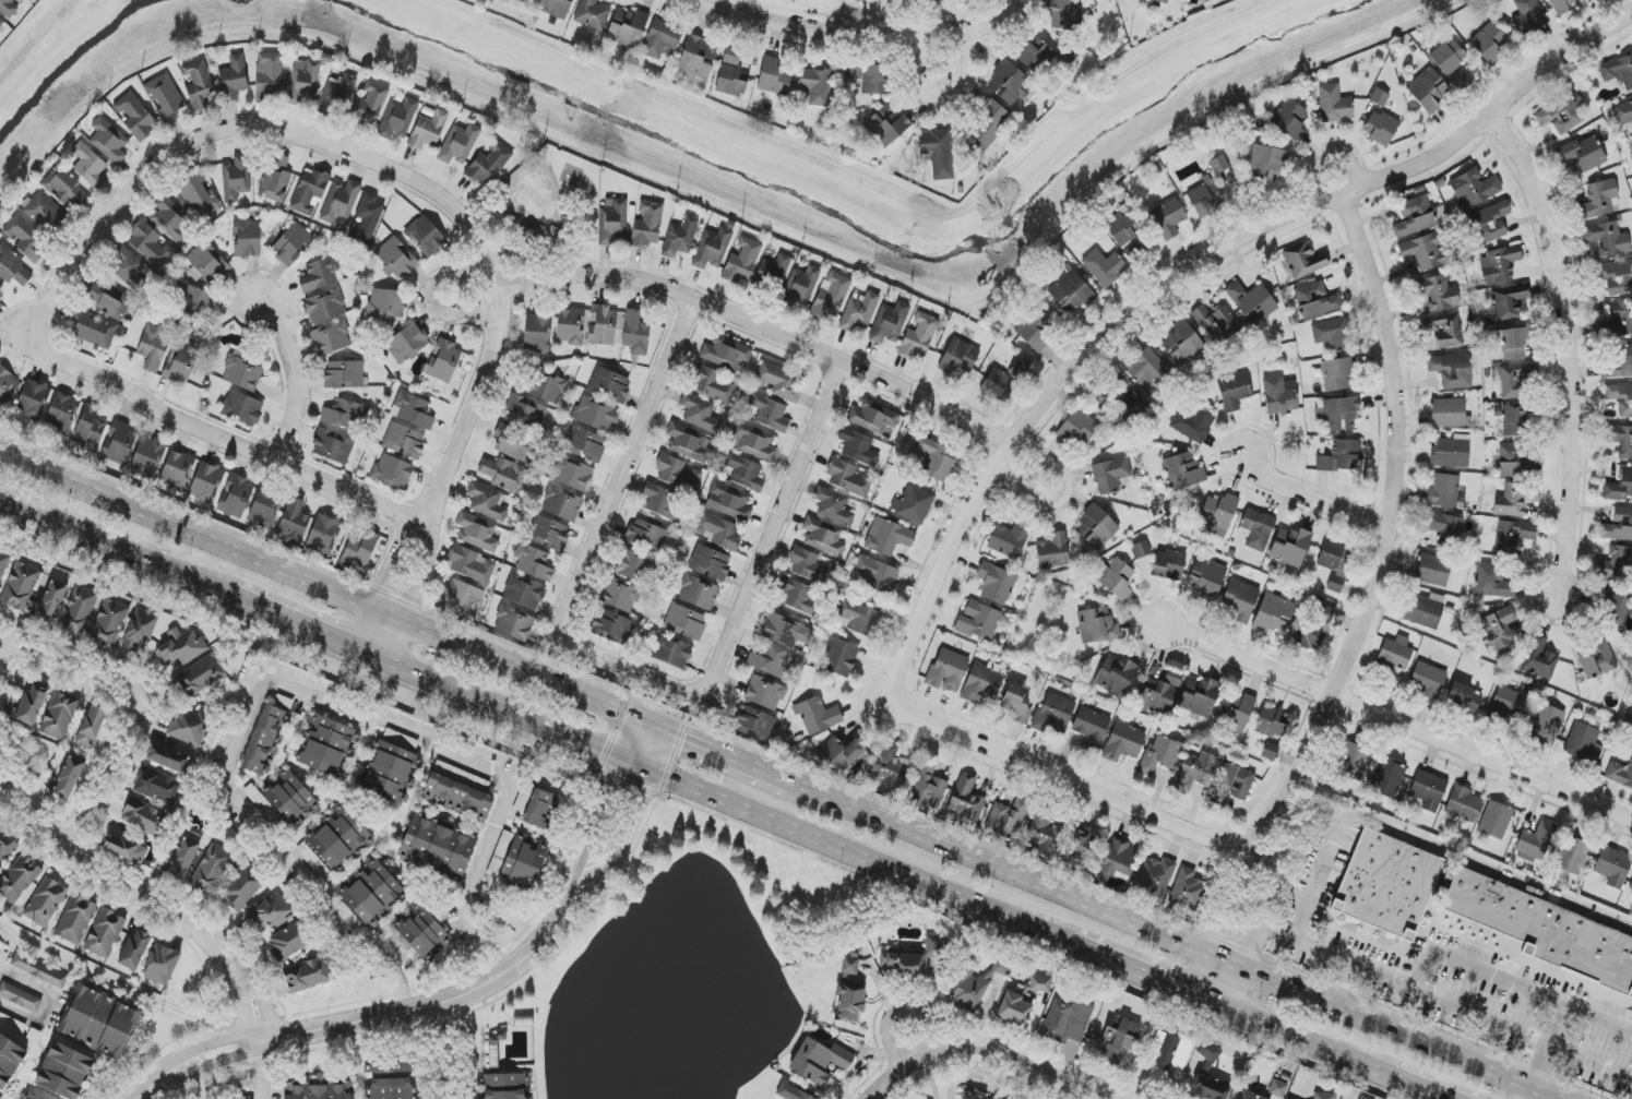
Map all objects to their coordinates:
building: (528, 0)
building: (1163, 1)
building: (1207, 1)
building: (1561, 4)
building: (8, 8)
building: (555, 8)
building: (592, 14)
building: (1065, 14)
building: (1528, 16)
building: (1, 24)
road: (979, 24)
road: (822, 25)
building: (628, 27)
building: (660, 38)
building: (1490, 43)
building: (732, 56)
building: (1044, 56)
building: (1449, 57)
building: (698, 58)
road: (940, 59)
building: (853, 71)
building: (1618, 71)
building: (269, 75)
building: (774, 76)
building: (234, 79)
building: (874, 80)
building: (303, 81)
building: (730, 81)
building: (1461, 81)
building: (1009, 83)
building: (199, 84)
building: (817, 85)
building: (1429, 89)
building: (338, 93)
building: (166, 97)
building: (1379, 97)
building: (1334, 104)
building: (371, 105)
building: (1562, 112)
building: (1623, 114)
building: (134, 116)
building: (397, 118)
building: (1290, 119)
building: (988, 122)
building: (886, 124)
building: (1381, 128)
building: (428, 130)
building: (109, 140)
building: (458, 144)
building: (938, 153)
road: (1326, 153)
building: (1583, 153)
road: (362, 156)
building: (1631, 163)
building: (488, 164)
building: (90, 165)
building: (1218, 165)
building: (1266, 165)
building: (236, 178)
building: (276, 179)
building: (64, 188)
building: (1475, 188)
building: (309, 192)
building: (198, 195)
building: (1204, 196)
building: (1599, 199)
building: (341, 201)
building: (1415, 216)
building: (1168, 217)
building: (366, 218)
building: (171, 220)
building: (612, 222)
building: (1490, 222)
building: (647, 225)
building: (1122, 228)
building: (426, 236)
building: (23, 237)
building: (247, 238)
building: (680, 238)
building: (1607, 238)
building: (291, 244)
building: (150, 246)
building: (712, 249)
building: (1425, 252)
building: (396, 259)
building: (742, 261)
building: (1303, 261)
building: (206, 264)
building: (1499, 265)
building: (12, 266)
building: (127, 267)
building: (1104, 267)
building: (773, 273)
building: (320, 274)
road: (1179, 277)
building: (1617, 277)
building: (803, 284)
building: (1, 285)
building: (1072, 292)
building: (1438, 292)
building: (831, 295)
building: (0, 298)
building: (190, 299)
building: (109, 300)
building: (1317, 300)
building: (1509, 301)
building: (1252, 302)
building: (386, 303)
building: (324, 306)
building: (859, 311)
building: (1618, 320)
building: (1226, 322)
building: (890, 323)
building: (603, 325)
building: (1208, 325)
building: (570, 326)
road: (765, 327)
building: (95, 330)
building: (1445, 331)
building: (537, 333)
building: (635, 333)
building: (1035, 333)
building: (1333, 333)
building: (919, 337)
building: (331, 338)
building: (1514, 342)
building: (407, 343)
building: (1183, 345)
road: (1567, 345)
building: (154, 347)
building: (726, 353)
building: (958, 357)
building: (444, 361)
building: (180, 362)
building: (1618, 362)
building: (1452, 370)
building: (1338, 373)
building: (242, 374)
building: (344, 374)
road: (295, 378)
building: (1517, 380)
building: (1002, 381)
building: (778, 382)
building: (7, 384)
building: (609, 384)
building: (713, 384)
building: (547, 387)
building: (1234, 392)
building: (1279, 395)
building: (1620, 397)
building: (33, 399)
building: (242, 408)
building: (1131, 408)
building: (412, 410)
building: (62, 413)
building: (700, 413)
building: (770, 413)
building: (1449, 413)
building: (525, 414)
building: (595, 414)
building: (345, 415)
building: (1341, 415)
building: (870, 418)
building: (1515, 420)
building: (1192, 423)
building: (1079, 427)
building: (90, 429)
road: (223, 439)
building: (1620, 440)
building: (404, 441)
building: (688, 442)
building: (754, 442)
building: (119, 443)
building: (514, 444)
building: (585, 444)
building: (333, 445)
building: (858, 446)
road: (1395, 446)
building: (1452, 452)
building: (1341, 456)
building: (147, 457)
building: (936, 458)
building: (1516, 462)
road: (623, 463)
building: (177, 470)
building: (392, 471)
building: (1183, 471)
building: (744, 473)
building: (504, 474)
building: (572, 474)
building: (678, 474)
building: (1110, 475)
building: (848, 478)
building: (206, 482)
building: (1619, 486)
building: (1445, 491)
building: (236, 497)
building: (1514, 499)
road: (1312, 500)
building: (486, 501)
building: (662, 501)
building: (729, 501)
building: (561, 504)
building: (913, 504)
building: (833, 506)
building: (264, 509)
building: (1219, 513)
building: (294, 523)
building: (1617, 526)
building: (1096, 527)
building: (1445, 527)
road: (771, 529)
building: (1258, 529)
building: (718, 530)
building: (477, 533)
building: (548, 533)
building: (324, 535)
building: (646, 535)
building: (823, 537)
building: (888, 537)
building: (1513, 537)
building: (1010, 539)
road: (117, 547)
building: (1290, 547)
building: (1142, 549)
building: (359, 551)
building: (1053, 551)
building: (533, 562)
building: (710, 563)
building: (1335, 563)
building: (3, 564)
building: (472, 564)
building: (1170, 564)
building: (1616, 564)
building: (635, 566)
building: (811, 566)
building: (1432, 570)
building: (877, 574)
building: (1115, 578)
building: (1206, 578)
road: (317, 580)
road: (383, 580)
building: (1491, 582)
building: (996, 583)
building: (20, 586)
road: (416, 592)
building: (523, 593)
building: (699, 593)
building: (620, 596)
building: (798, 596)
building: (464, 597)
building: (1240, 600)
building: (49, 601)
building: (1616, 606)
building: (79, 610)
building: (1422, 610)
building: (1274, 613)
building: (1325, 613)
building: (858, 617)
building: (978, 621)
building: (684, 622)
building: (108, 623)
building: (513, 623)
building: (612, 624)
building: (1097, 625)
building: (140, 629)
road: (311, 629)
building: (782, 631)
building: (1499, 631)
building: (1309, 635)
building: (181, 646)
building: (671, 652)
building: (1395, 653)
road: (7, 657)
building: (841, 657)
building: (1539, 659)
building: (1596, 659)
building: (772, 661)
road: (624, 669)
building: (948, 670)
building: (200, 677)
building: (1116, 677)
road: (259, 679)
building: (1428, 680)
building: (981, 684)
building: (764, 693)
building: (1200, 696)
building: (1465, 697)
building: (1016, 703)
building: (32, 704)
building: (1504, 704)
road: (141, 705)
road: (503, 710)
building: (1236, 712)
building: (59, 715)
building: (817, 715)
building: (1053, 715)
building: (1272, 721)
road: (1395, 722)
building: (754, 724)
building: (1629, 724)
road: (651, 725)
building: (1546, 725)
building: (92, 726)
building: (188, 727)
building: (1092, 729)
road: (624, 738)
building: (265, 740)
building: (1123, 742)
building: (1583, 742)
building: (325, 744)
building: (1270, 751)
road: (660, 752)
building: (841, 753)
building: (1160, 755)
building: (168, 757)
building: (897, 757)
building: (1354, 761)
road: (635, 765)
building: (1196, 771)
building: (390, 773)
building: (1620, 774)
building: (462, 775)
road: (776, 776)
building: (67, 777)
building: (1389, 777)
building: (1234, 784)
building: (158, 786)
building: (927, 787)
road: (1084, 787)
building: (1428, 790)
building: (460, 796)
building: (290, 798)
building: (967, 801)
building: (521, 803)
building: (1463, 804)
building: (538, 809)
road: (638, 813)
building: (144, 816)
building: (996, 819)
building: (1015, 819)
building: (1496, 820)
building: (0, 824)
road: (594, 827)
building: (1044, 834)
building: (339, 838)
building: (1082, 843)
building: (1536, 843)
road: (1253, 844)
building: (5, 845)
building: (439, 847)
building: (126, 849)
road: (841, 850)
building: (500, 853)
road: (1280, 855)
building: (1572, 855)
road: (1467, 858)
building: (183, 859)
building: (311, 859)
building: (524, 860)
building: (1117, 860)
building: (1613, 867)
building: (211, 869)
road: (93, 871)
road: (1322, 874)
building: (1154, 876)
building: (19, 879)
road: (604, 880)
building: (1383, 885)
building: (241, 886)
building: (1631, 886)
building: (1186, 889)
building: (373, 893)
building: (45, 901)
building: (271, 911)
building: (75, 920)
building: (421, 932)
building: (105, 933)
building: (1542, 933)
building: (289, 941)
road: (1303, 944)
building: (133, 948)
road: (1226, 956)
building: (910, 958)
road: (2, 963)
building: (162, 965)
road: (1119, 965)
building: (849, 966)
road: (1479, 967)
building: (38, 970)
building: (307, 976)
road: (118, 982)
road: (254, 983)
building: (1040, 983)
building: (968, 990)
road: (236, 991)
building: (20, 998)
road: (1432, 998)
building: (848, 1002)
road: (49, 1003)
building: (1014, 1010)
road: (900, 1011)
road: (1563, 1011)
road: (368, 1015)
building: (1064, 1019)
building: (99, 1023)
road: (1300, 1039)
building: (1119, 1040)
road: (984, 1053)
building: (1208, 1053)
building: (1169, 1056)
building: (9, 1060)
building: (819, 1061)
road: (1591, 1063)
road: (263, 1066)
building: (64, 1072)
building: (505, 1082)
road: (1419, 1087)
building: (1277, 1088)
building: (1208, 1089)
building: (322, 1091)
road: (1529, 1091)
building: (793, 1092)
building: (504, 1095)
building: (1249, 1095)
building: (1323, 1096)
building: (32, 1097)
building: (978, 1097)
building: (1008, 1098)
building: (1363, 1098)

